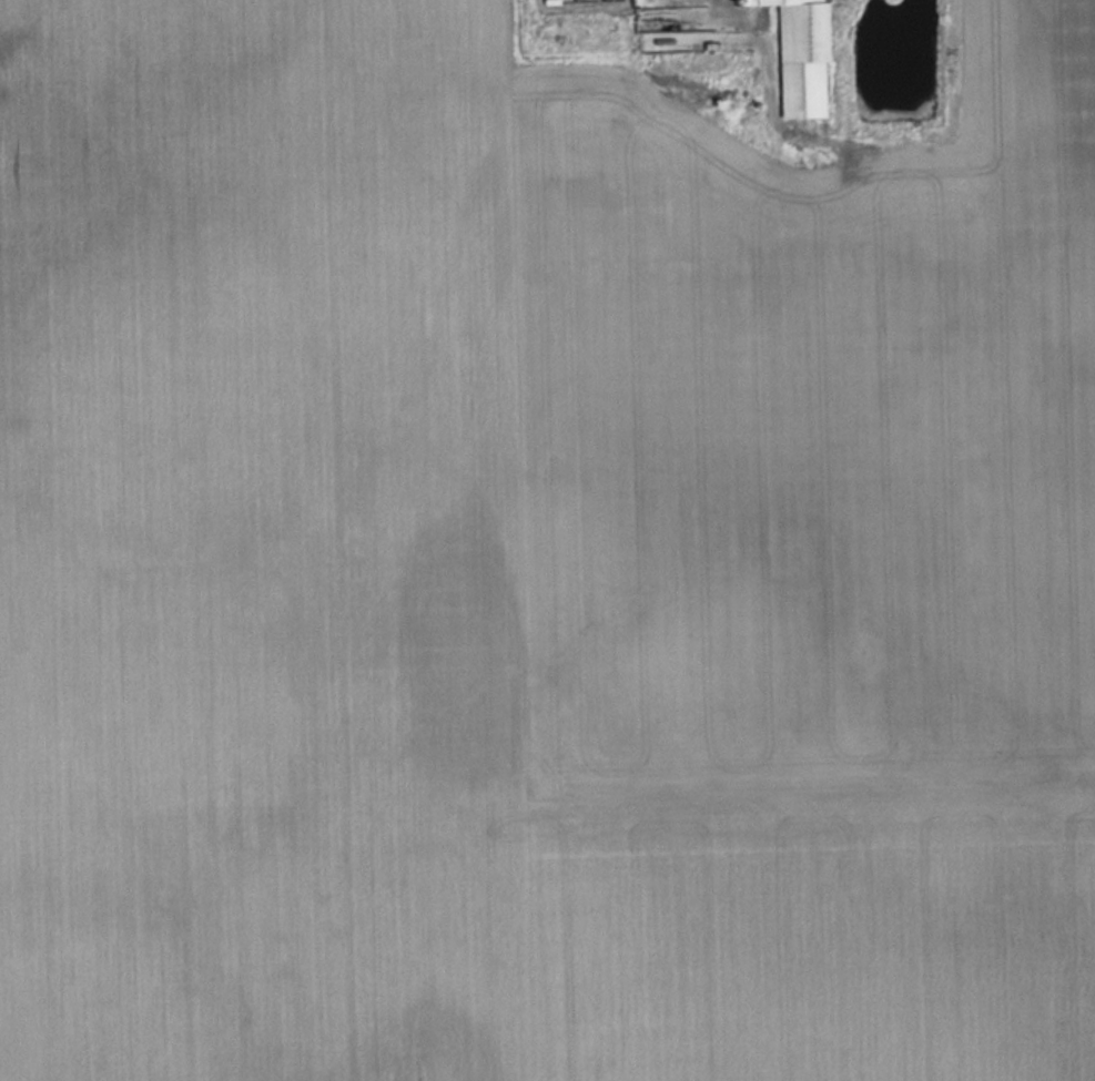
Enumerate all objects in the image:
building: (558, 6)
building: (802, 58)

